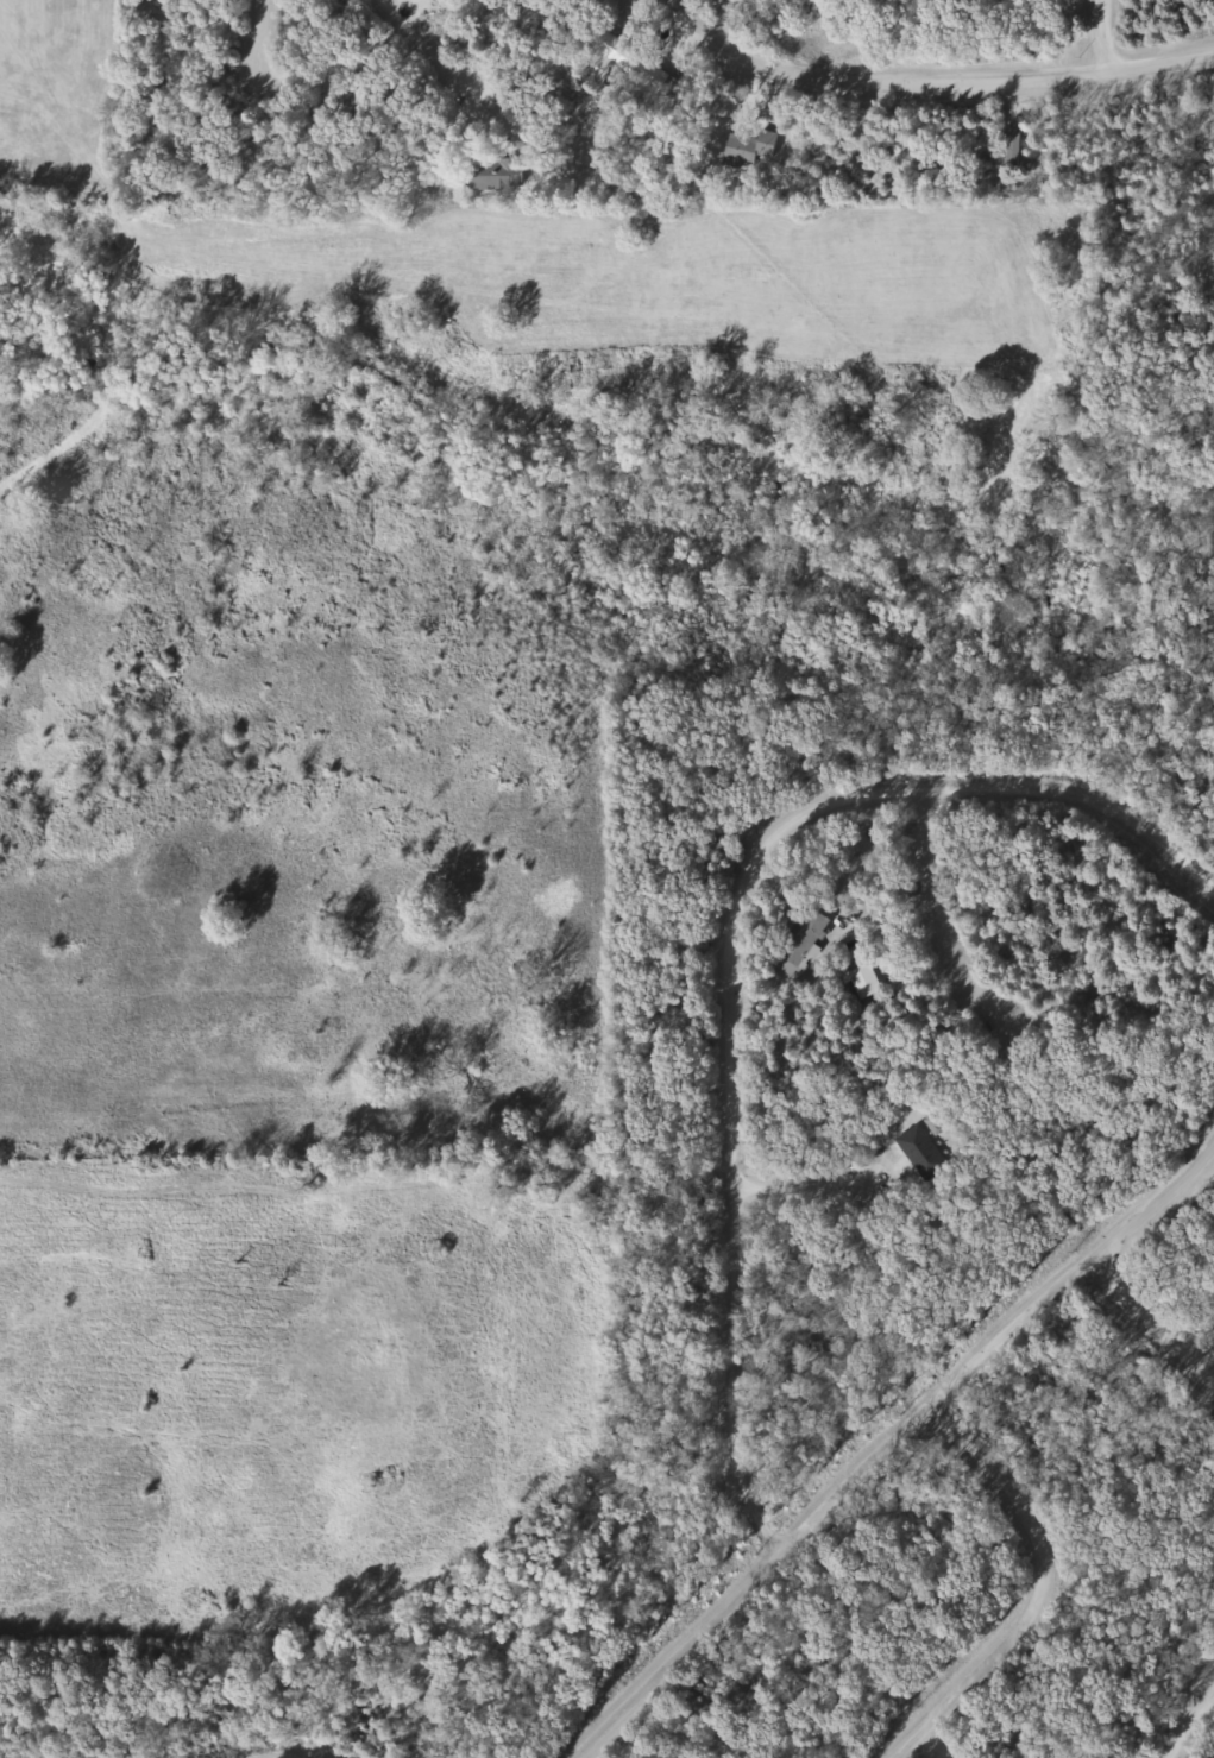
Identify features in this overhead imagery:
road: (1106, 34)
road: (429, 52)
road: (310, 62)
road: (932, 80)
building: (741, 150)
building: (492, 174)
road: (945, 909)
building: (805, 941)
road: (736, 953)
building: (868, 982)
building: (920, 1153)
road: (1174, 1180)
road: (812, 1183)
road: (1151, 1315)
road: (850, 1486)
road: (1046, 1590)
road: (1191, 1725)
road: (939, 1743)

